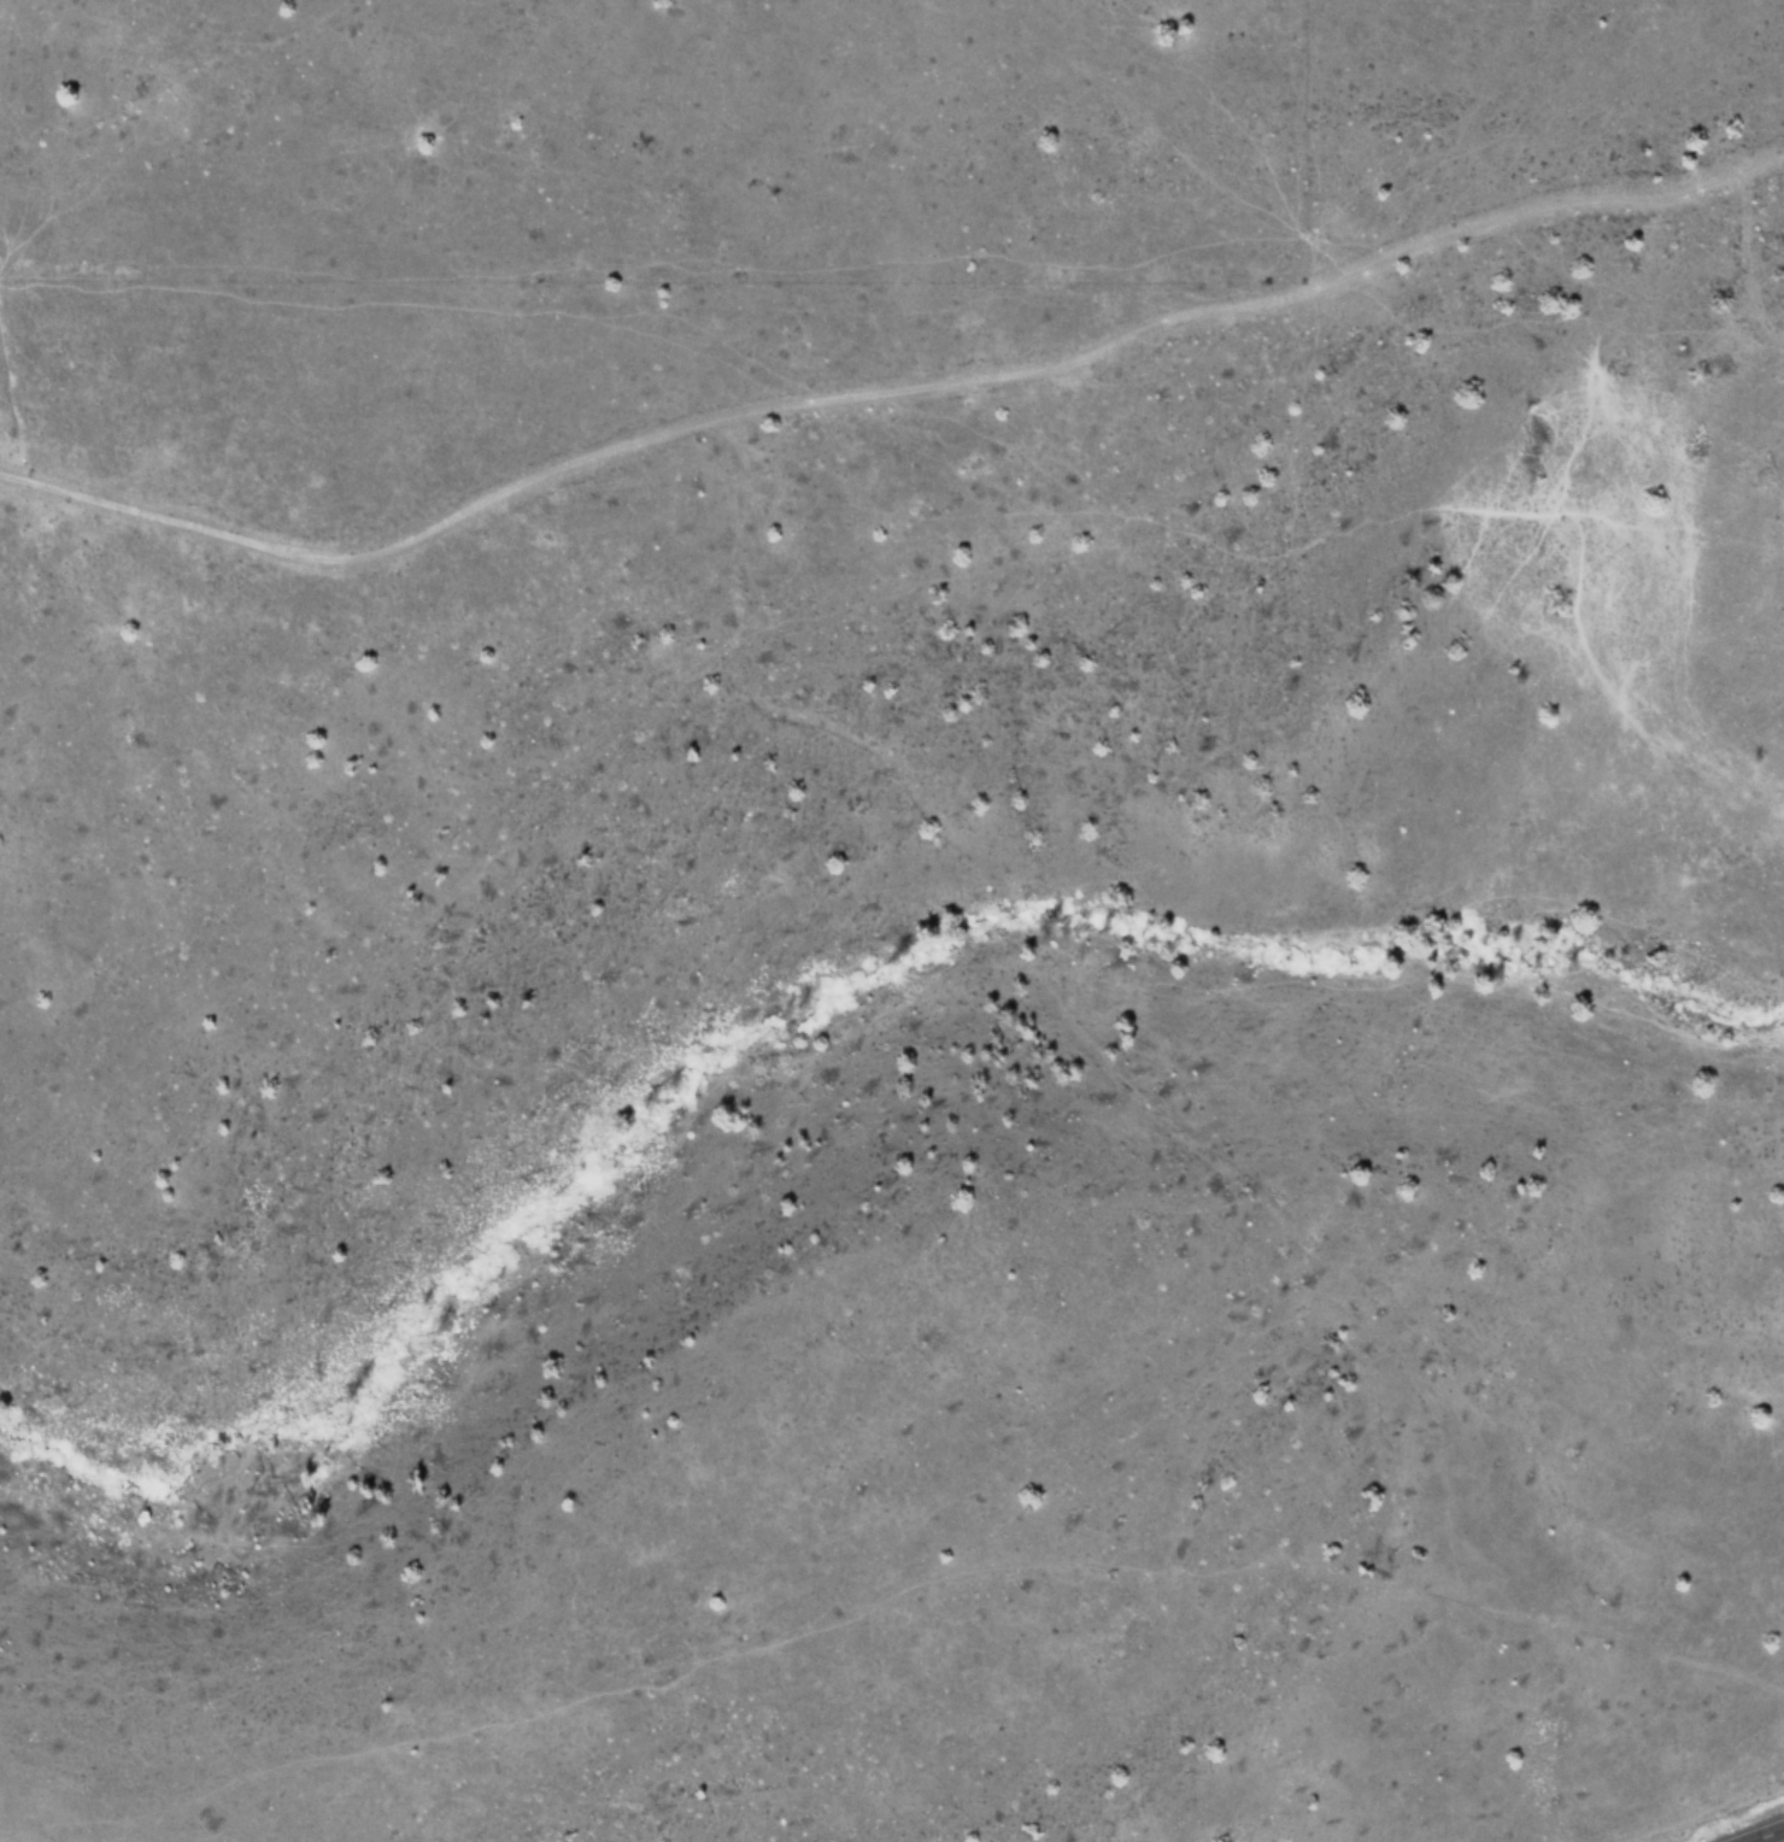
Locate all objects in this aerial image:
road: (1764, 1834)

